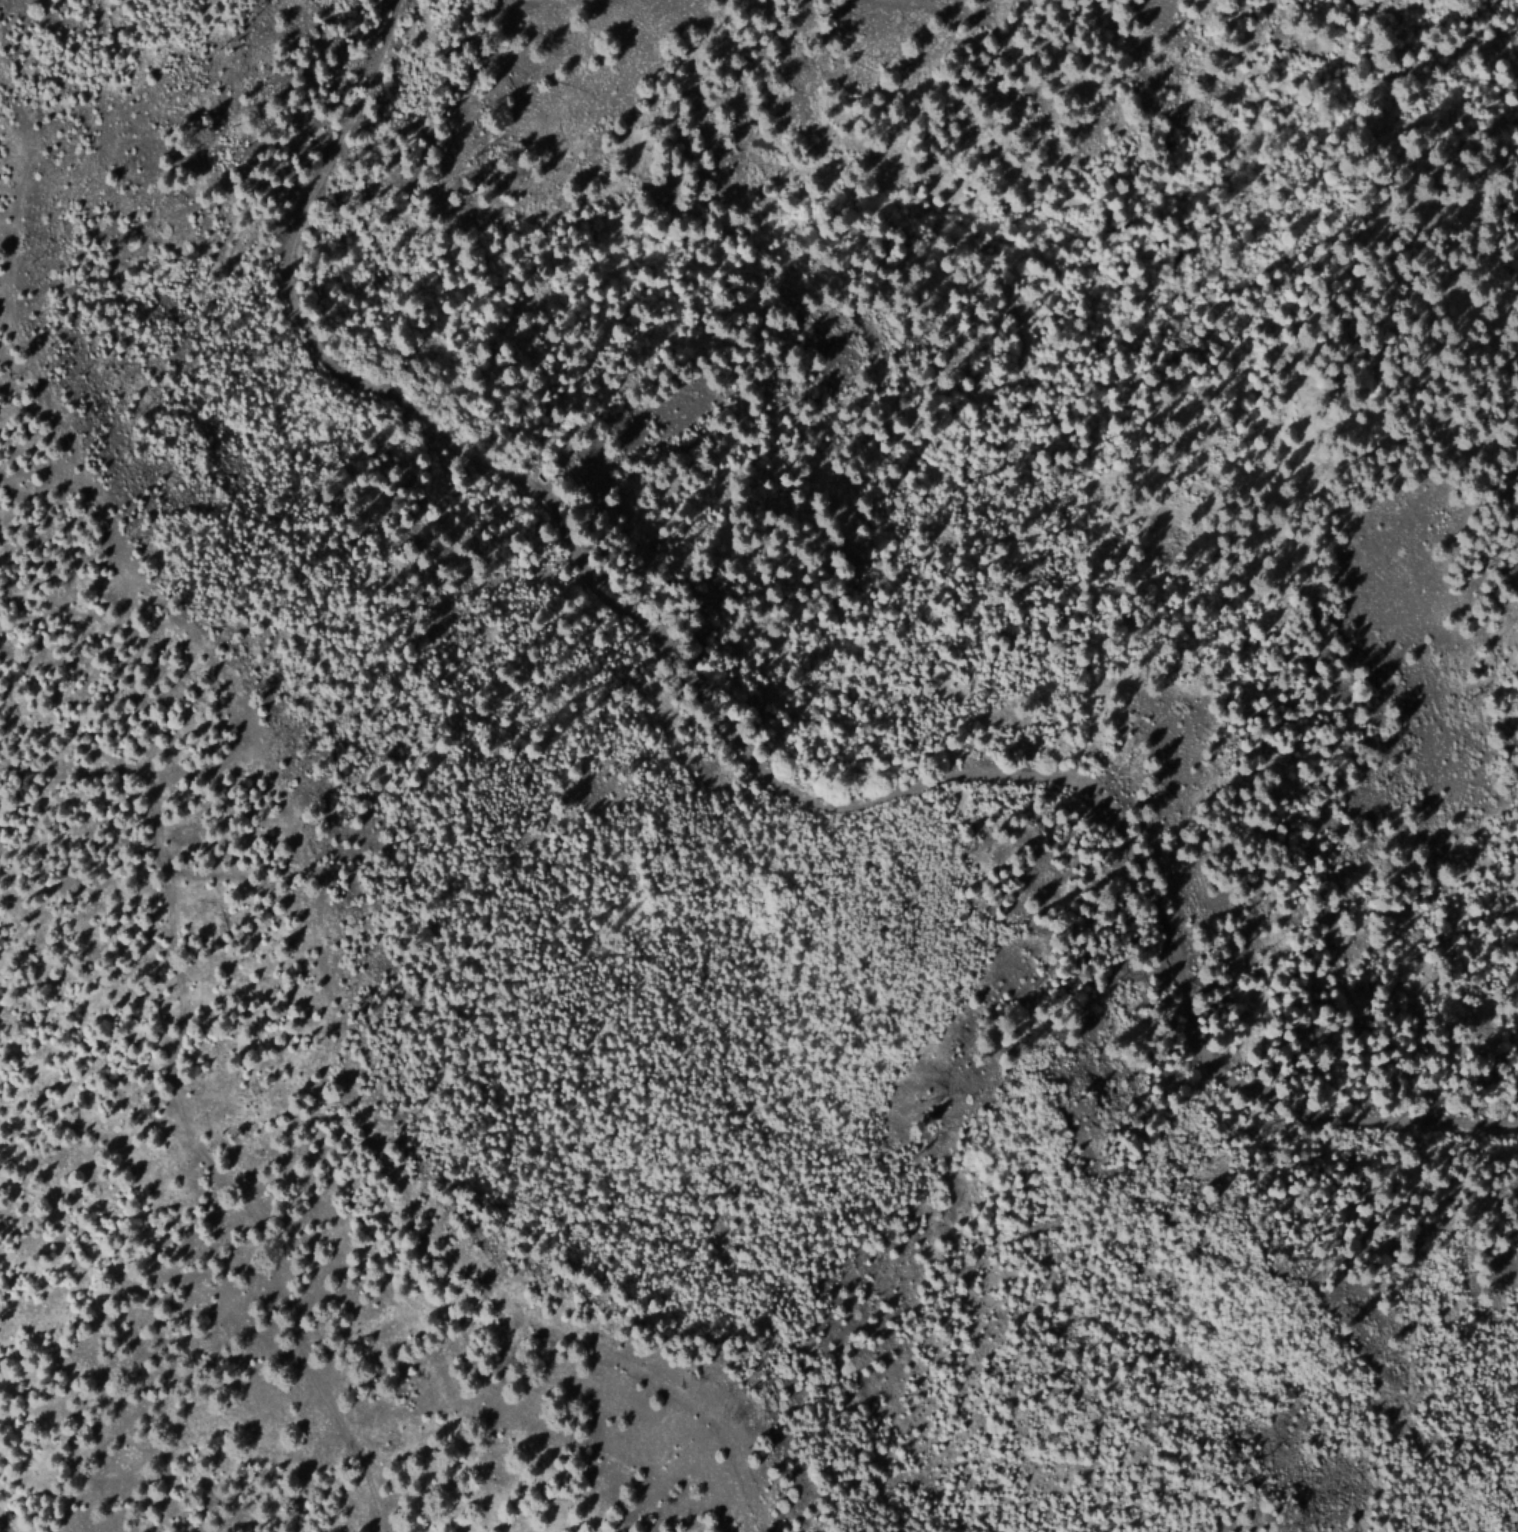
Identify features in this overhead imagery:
road: (191, 1127)

